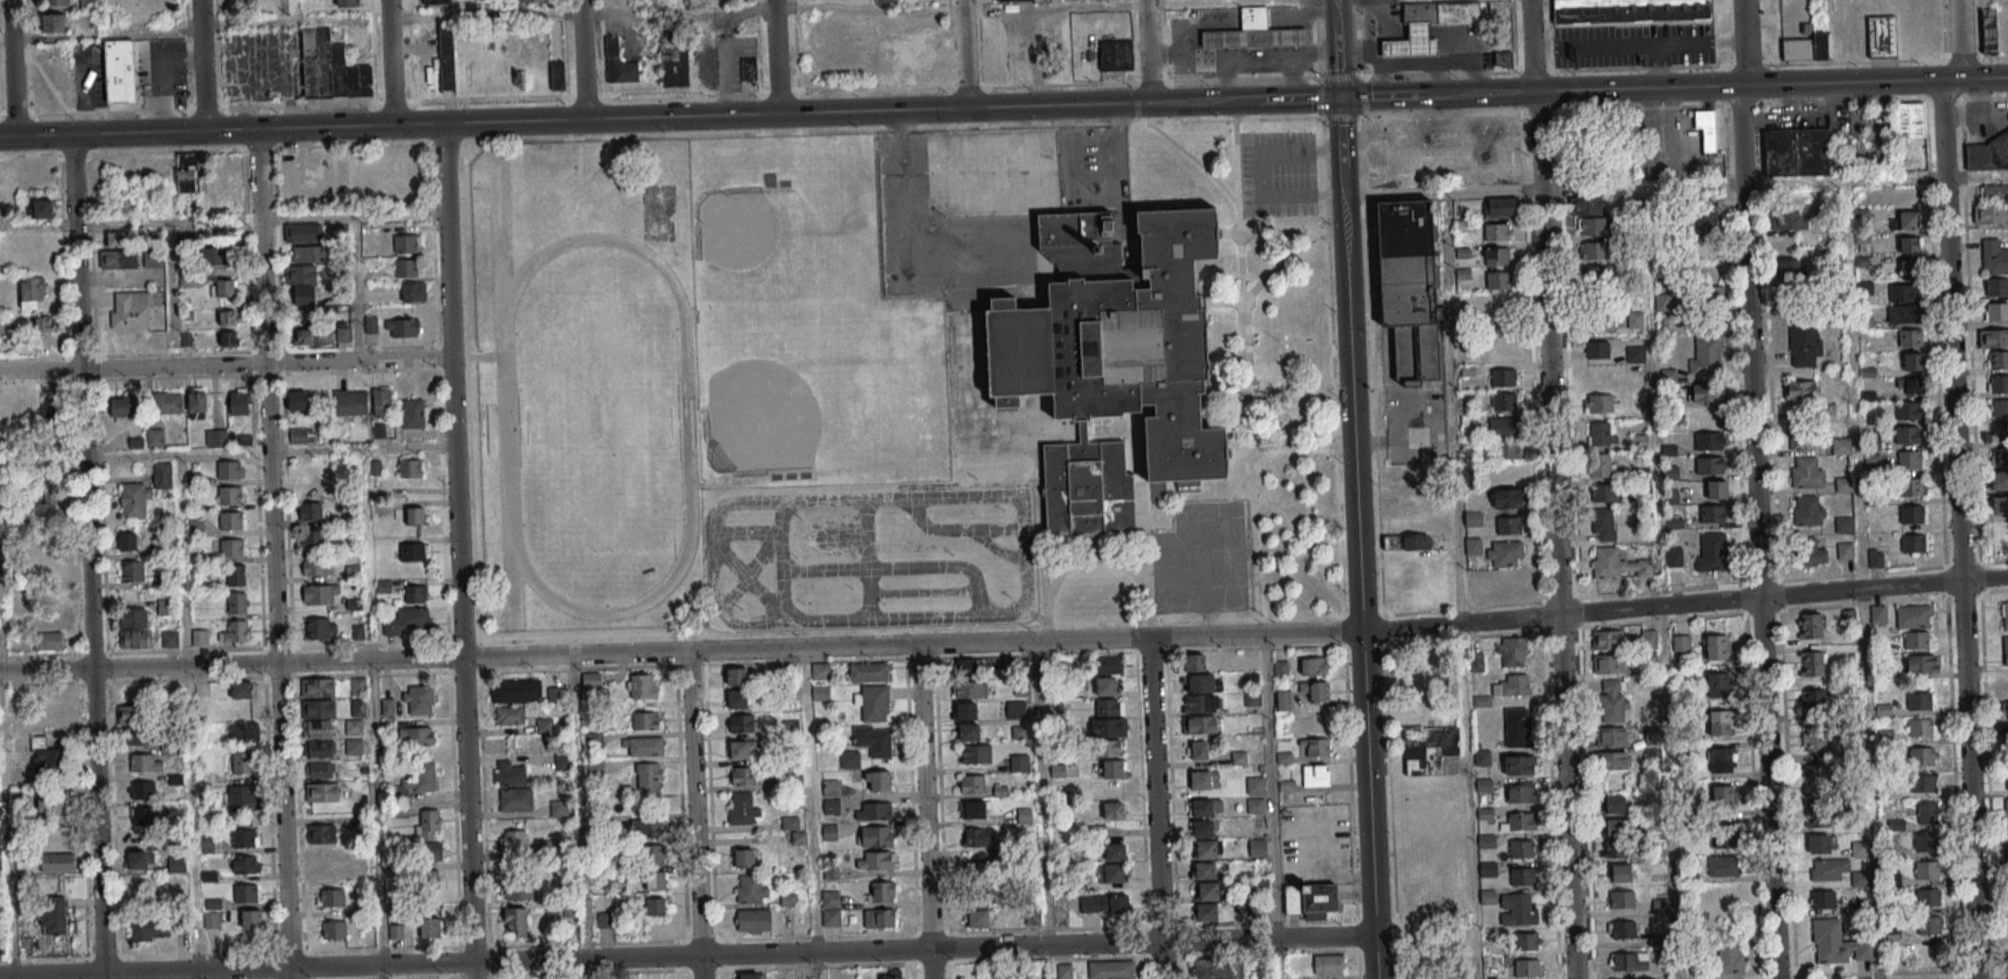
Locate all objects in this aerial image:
building: (534, 0)
building: (1015, 0)
building: (437, 1)
building: (55, 2)
building: (886, 2)
building: (347, 3)
road: (872, 6)
road: (1090, 6)
building: (1630, 11)
building: (1457, 13)
building: (1419, 14)
road: (1308, 19)
building: (1253, 20)
building: (53, 22)
building: (1989, 30)
road: (99, 36)
building: (1882, 36)
building: (1253, 40)
road: (1636, 43)
building: (1411, 45)
building: (1806, 48)
road: (1146, 52)
road: (963, 54)
building: (1115, 54)
road: (776, 56)
building: (446, 58)
road: (1033, 58)
road: (1241, 58)
road: (584, 59)
building: (673, 59)
road: (391, 62)
building: (618, 64)
road: (201, 65)
road: (1657, 65)
road: (12, 68)
building: (330, 68)
building: (750, 70)
building: (932, 73)
building: (120, 74)
road: (1292, 76)
building: (557, 78)
road: (1226, 80)
road: (1719, 86)
road: (1384, 96)
road: (1296, 98)
traffic signals: (1338, 98)
road: (1782, 103)
road: (1539, 110)
road: (1440, 113)
road: (1340, 116)
road: (627, 117)
building: (1909, 120)
building: (1706, 128)
road: (660, 136)
building: (1797, 152)
building: (1987, 154)
building: (187, 172)
road: (1258, 174)
road: (1675, 186)
building: (1993, 193)
road: (1096, 203)
building: (1500, 205)
building: (1588, 205)
building: (43, 208)
building: (1991, 214)
road: (222, 218)
building: (1790, 220)
building: (1906, 221)
building: (1705, 222)
building: (1591, 226)
building: (1496, 231)
building: (305, 233)
building: (116, 240)
building: (406, 243)
park: (783, 243)
building: (1910, 244)
road: (901, 249)
building: (1593, 250)
building: (1463, 253)
building: (307, 254)
building: (1498, 255)
building: (215, 256)
building: (1994, 256)
building: (153, 258)
building: (118, 259)
building: (406, 268)
building: (1910, 268)
building: (1789, 269)
building: (1596, 275)
building: (186, 279)
building: (1500, 279)
building: (302, 283)
building: (1407, 286)
building: (1996, 286)
building: (222, 288)
building: (411, 291)
building: (32, 292)
building: (1903, 292)
building: (1710, 295)
road: (1749, 299)
building: (1503, 300)
building: (1663, 302)
building: (131, 309)
building: (1996, 311)
building: (1904, 313)
building: (228, 318)
building: (1598, 322)
building: (6, 324)
building: (43, 324)
building: (371, 324)
building: (402, 327)
building: (342, 335)
building: (303, 336)
building: (1116, 337)
building: (1910, 338)
building: (1993, 338)
building: (229, 339)
building: (159, 340)
building: (122, 341)
building: (1805, 344)
building: (1597, 349)
building: (1507, 352)
building: (1635, 353)
building: (1705, 355)
building: (1997, 359)
building: (1913, 361)
road: (225, 365)
building: (1504, 377)
building: (1997, 383)
building: (1910, 385)
building: (1800, 389)
park: (822, 391)
building: (1706, 393)
building: (297, 401)
building: (381, 401)
building: (1505, 401)
building: (168, 402)
building: (197, 402)
building: (238, 402)
building: (351, 402)
building: (1598, 403)
building: (1998, 407)
building: (121, 408)
building: (1909, 410)
building: (413, 413)
building: (1503, 425)
building: (1999, 430)
building: (1601, 434)
building: (1908, 434)
building: (299, 435)
road: (989, 436)
building: (154, 437)
building: (216, 437)
building: (1805, 439)
building: (1709, 440)
building: (1639, 441)
building: (1840, 445)
building: (1507, 450)
building: (1999, 456)
building: (1911, 459)
building: (1602, 464)
building: (1710, 465)
building: (411, 468)
building: (230, 469)
building: (1807, 471)
building: (163, 476)
building: (1843, 484)
building: (307, 487)
building: (1911, 487)
road: (1957, 487)
building: (1086, 489)
road: (1354, 489)
road: (1553, 489)
building: (1717, 489)
building: (1999, 492)
building: (230, 495)
building: (1669, 495)
building: (133, 500)
building: (1507, 500)
building: (48, 506)
building: (1807, 510)
building: (310, 511)
building: (1712, 513)
building: (1911, 514)
building: (415, 515)
building: (232, 520)
building: (1509, 524)
building: (1604, 524)
building: (1844, 524)
building: (312, 539)
building: (127, 541)
building: (1416, 541)
building: (1913, 544)
building: (1473, 546)
building: (233, 547)
road: (458, 550)
building: (1809, 550)
building: (1845, 550)
building: (413, 551)
building: (1711, 552)
building: (1505, 553)
road: (272, 554)
road: (87, 556)
road: (1096, 558)
building: (1877, 559)
building: (1618, 564)
building: (317, 566)
building: (49, 570)
building: (353, 570)
building: (130, 571)
building: (236, 574)
building: (1476, 581)
building: (1510, 583)
road: (1660, 583)
road: (1458, 584)
building: (416, 593)
building: (320, 595)
building: (237, 602)
building: (165, 607)
road: (1457, 609)
building: (49, 612)
building: (1878, 613)
building: (2004, 615)
building: (1914, 616)
building: (132, 617)
building: (407, 620)
building: (1811, 625)
building: (320, 628)
building: (235, 632)
building: (200, 637)
building: (170, 638)
building: (1649, 638)
building: (135, 639)
building: (1607, 639)
building: (1918, 639)
road: (1004, 640)
building: (48, 642)
building: (1681, 642)
building: (1717, 646)
building: (2005, 650)
building: (1512, 651)
building: (1813, 661)
building: (1195, 662)
building: (1477, 662)
building: (1922, 663)
building: (1610, 664)
building: (1108, 665)
building: (1314, 665)
building: (1281, 668)
building: (821, 670)
building: (868, 672)
building: (737, 676)
building: (1200, 683)
building: (1717, 684)
building: (642, 685)
building: (1513, 685)
building: (2006, 685)
building: (318, 688)
building: (241, 689)
building: (971, 689)
building: (1315, 690)
building: (517, 691)
building: (51, 697)
building: (738, 698)
building: (1252, 698)
building: (419, 700)
building: (1284, 700)
building: (1813, 700)
building: (1918, 700)
building: (1481, 701)
building: (1612, 701)
building: (873, 702)
building: (1202, 703)
building: (358, 707)
building: (387, 707)
building: (1108, 708)
building: (318, 709)
building: (1015, 709)
building: (2005, 709)
building: (965, 710)
building: (130, 714)
building: (509, 715)
building: (647, 720)
building: (1720, 720)
building: (742, 723)
building: (1199, 724)
building: (544, 726)
building: (1517, 726)
building: (353, 727)
building: (1921, 727)
building: (319, 728)
building: (968, 731)
building: (244, 732)
building: (1652, 734)
building: (2004, 735)
building: (1611, 736)
building: (141, 737)
building: (418, 737)
building: (1813, 739)
building: (874, 740)
building: (354, 746)
building: (644, 746)
building: (1314, 747)
building: (1107, 748)
building: (1428, 748)
building: (321, 749)
building: (742, 749)
building: (1197, 750)
building: (973, 753)
building: (1652, 754)
building: (1923, 755)
building: (46, 756)
building: (1721, 758)
building: (849, 759)
building: (1613, 760)
building: (562, 762)
building: (145, 763)
building: (242, 763)
building: (1019, 763)
building: (1519, 764)
building: (596, 767)
building: (1112, 769)
building: (321, 770)
building: (510, 774)
building: (1315, 774)
building: (743, 776)
building: (1817, 776)
building: (648, 777)
building: (1202, 779)
building: (416, 781)
building: (793, 781)
building: (878, 781)
building: (2006, 781)
building: (971, 783)
building: (1922, 783)
road: (1870, 784)
building: (1255, 785)
building: (1484, 785)
road: (1271, 787)
building: (142, 789)
road: (1768, 789)
building: (322, 792)
road: (1042, 792)
building: (1521, 792)
building: (243, 794)
building: (1723, 796)
building: (515, 800)
building: (1613, 803)
building: (2006, 806)
building: (559, 807)
building: (1204, 807)
building: (54, 808)
building: (741, 808)
road: (1155, 808)
building: (973, 809)
building: (873, 810)
building: (1115, 810)
road: (924, 811)
building: (1927, 812)
road: (809, 813)
building: (146, 815)
road: (694, 815)
building: (1817, 815)
road: (580, 816)
road: (191, 818)
road: (377, 819)
building: (1520, 821)
building: (790, 822)
building: (427, 824)
building: (646, 827)
building: (1614, 827)
building: (1201, 829)
building: (2007, 830)
building: (829, 832)
building: (322, 833)
road: (6, 834)
building: (874, 836)
building: (1727, 836)
building: (798, 837)
building: (977, 837)
building: (56, 838)
building: (245, 838)
building: (137, 839)
building: (513, 839)
building: (1924, 841)
building: (207, 842)
building: (1821, 843)
building: (1258, 847)
building: (1859, 847)
building: (548, 848)
building: (1522, 848)
building: (1208, 849)
building: (1614, 849)
building: (430, 850)
building: (1115, 851)
building: (326, 854)
building: (654, 854)
building: (2006, 855)
building: (743, 857)
building: (141, 860)
building: (877, 860)
building: (58, 862)
building: (177, 864)
building: (246, 864)
building: (1722, 865)
building: (1828, 868)
building: (980, 869)
building: (1927, 869)
building: (1205, 870)
building: (1620, 872)
building: (1111, 873)
building: (1524, 875)
building: (1859, 878)
building: (655, 880)
building: (426, 881)
building: (1261, 886)
building: (518, 889)
building: (751, 889)
building: (880, 891)
building: (1207, 891)
building: (980, 892)
building: (246, 893)
building: (1488, 896)
building: (1928, 897)
building: (330, 898)
building: (1292, 898)
building: (1620, 899)
building: (1317, 900)
building: (1823, 900)
building: (1103, 903)
building: (656, 906)
building: (1659, 906)
building: (830, 908)
building: (1518, 908)
building: (1258, 910)
building: (1205, 911)
building: (52, 914)
building: (879, 917)
building: (1032, 917)
building: (978, 918)
building: (253, 919)
building: (516, 920)
building: (753, 920)
building: (1930, 924)
building: (431, 929)
building: (1622, 929)
building: (150, 930)
building: (333, 931)
building: (395, 932)
road: (1325, 938)
building: (1526, 941)
building: (1837, 943)
road: (638, 957)
building: (1730, 957)
road: (1277, 959)
building: (1628, 961)
building: (1326, 964)
building: (1527, 967)
building: (1111, 969)
building: (1225, 971)
road: (200, 975)
building: (890, 975)
building: (752, 976)
building: (1297, 976)

